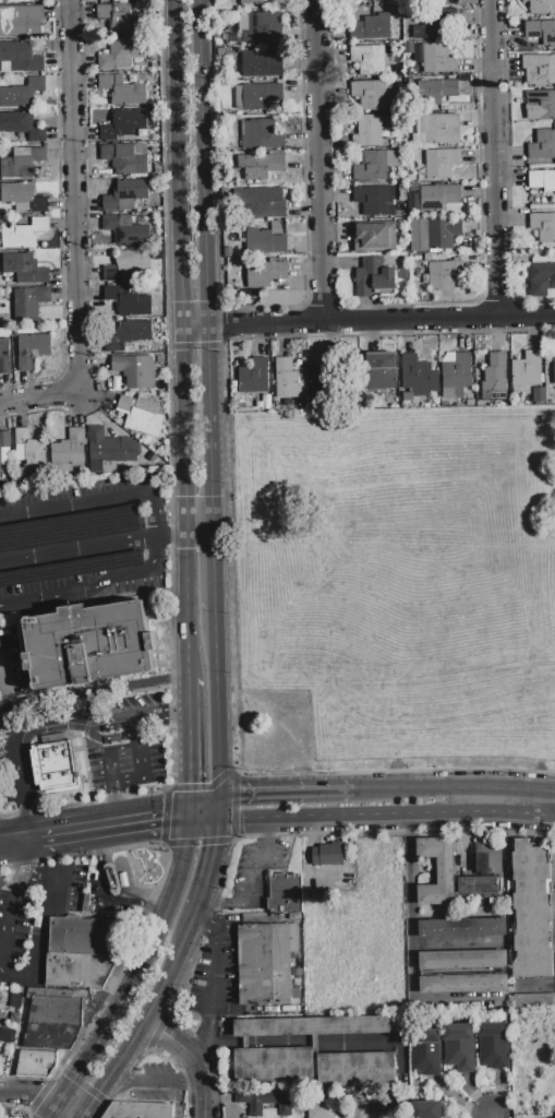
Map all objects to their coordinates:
building: (105, 0)
building: (130, 0)
building: (377, 0)
building: (23, 1)
building: (251, 1)
building: (542, 7)
building: (120, 19)
building: (20, 22)
building: (371, 28)
building: (430, 28)
building: (258, 29)
building: (541, 32)
building: (122, 53)
building: (431, 57)
building: (20, 59)
building: (369, 59)
building: (262, 63)
building: (540, 70)
building: (122, 91)
building: (435, 92)
building: (21, 94)
building: (371, 94)
building: (256, 96)
building: (541, 106)
building: (22, 126)
building: (125, 127)
building: (436, 130)
building: (374, 131)
building: (261, 134)
building: (542, 145)
road: (496, 157)
building: (125, 158)
road: (317, 160)
building: (442, 164)
building: (16, 166)
building: (260, 166)
building: (375, 166)
road: (507, 170)
building: (542, 181)
road: (80, 194)
building: (128, 197)
building: (23, 198)
building: (438, 198)
building: (373, 201)
building: (257, 203)
road: (59, 217)
building: (543, 226)
building: (126, 230)
building: (24, 234)
building: (443, 234)
building: (419, 236)
building: (374, 238)
building: (265, 241)
road: (89, 255)
building: (133, 261)
road: (164, 263)
road: (208, 267)
building: (25, 270)
building: (266, 273)
building: (405, 274)
building: (444, 275)
building: (375, 278)
building: (542, 278)
building: (29, 304)
road: (406, 305)
building: (134, 306)
road: (263, 308)
road: (369, 319)
road: (226, 325)
building: (129, 336)
road: (183, 338)
road: (196, 346)
building: (32, 349)
building: (4, 356)
building: (527, 370)
building: (135, 372)
building: (550, 372)
building: (254, 376)
building: (382, 376)
building: (455, 376)
building: (419, 377)
building: (283, 378)
building: (495, 378)
building: (316, 379)
building: (539, 395)
road: (43, 396)
building: (142, 416)
building: (5, 439)
building: (69, 449)
building: (109, 450)
building: (31, 452)
building: (0, 461)
road: (77, 503)
road: (158, 512)
road: (171, 537)
road: (107, 544)
parking lot: (72, 545)
road: (160, 554)
road: (231, 556)
road: (215, 572)
road: (80, 590)
road: (85, 604)
road: (171, 611)
building: (87, 645)
road: (4, 676)
road: (171, 679)
road: (94, 692)
road: (171, 692)
road: (217, 709)
road: (171, 713)
road: (146, 716)
road: (10, 736)
road: (190, 746)
road: (109, 759)
building: (53, 764)
road: (146, 764)
road: (170, 778)
traffic signals: (191, 784)
road: (484, 787)
road: (384, 788)
road: (282, 790)
traffic signals: (239, 793)
road: (111, 798)
road: (65, 806)
road: (118, 810)
road: (206, 811)
road: (494, 811)
road: (22, 812)
road: (7, 816)
traffic signals: (161, 817)
road: (324, 818)
road: (114, 822)
road: (262, 829)
road: (19, 836)
traffic signals: (216, 845)
building: (329, 854)
building: (486, 854)
road: (15, 855)
road: (212, 861)
road: (251, 870)
building: (436, 871)
parking lot: (254, 875)
building: (479, 879)
road: (104, 894)
building: (285, 896)
road: (219, 903)
road: (47, 906)
building: (531, 909)
road: (7, 914)
building: (461, 928)
road: (205, 930)
road: (411, 941)
building: (81, 952)
building: (462, 960)
building: (265, 963)
road: (143, 965)
road: (16, 978)
building: (462, 984)
road: (538, 985)
road: (213, 990)
road: (157, 998)
building: (533, 1001)
building: (55, 1011)
building: (312, 1026)
building: (5, 1034)
building: (49, 1036)
road: (193, 1046)
building: (493, 1046)
building: (459, 1047)
building: (424, 1051)
road: (193, 1059)
building: (35, 1063)
building: (273, 1065)
building: (355, 1070)
road: (155, 1081)
road: (29, 1094)
road: (96, 1098)
building: (266, 1104)
building: (424, 1109)
road: (55, 1110)
road: (70, 1110)
building: (135, 1110)
building: (337, 1111)
road: (493, 1116)

